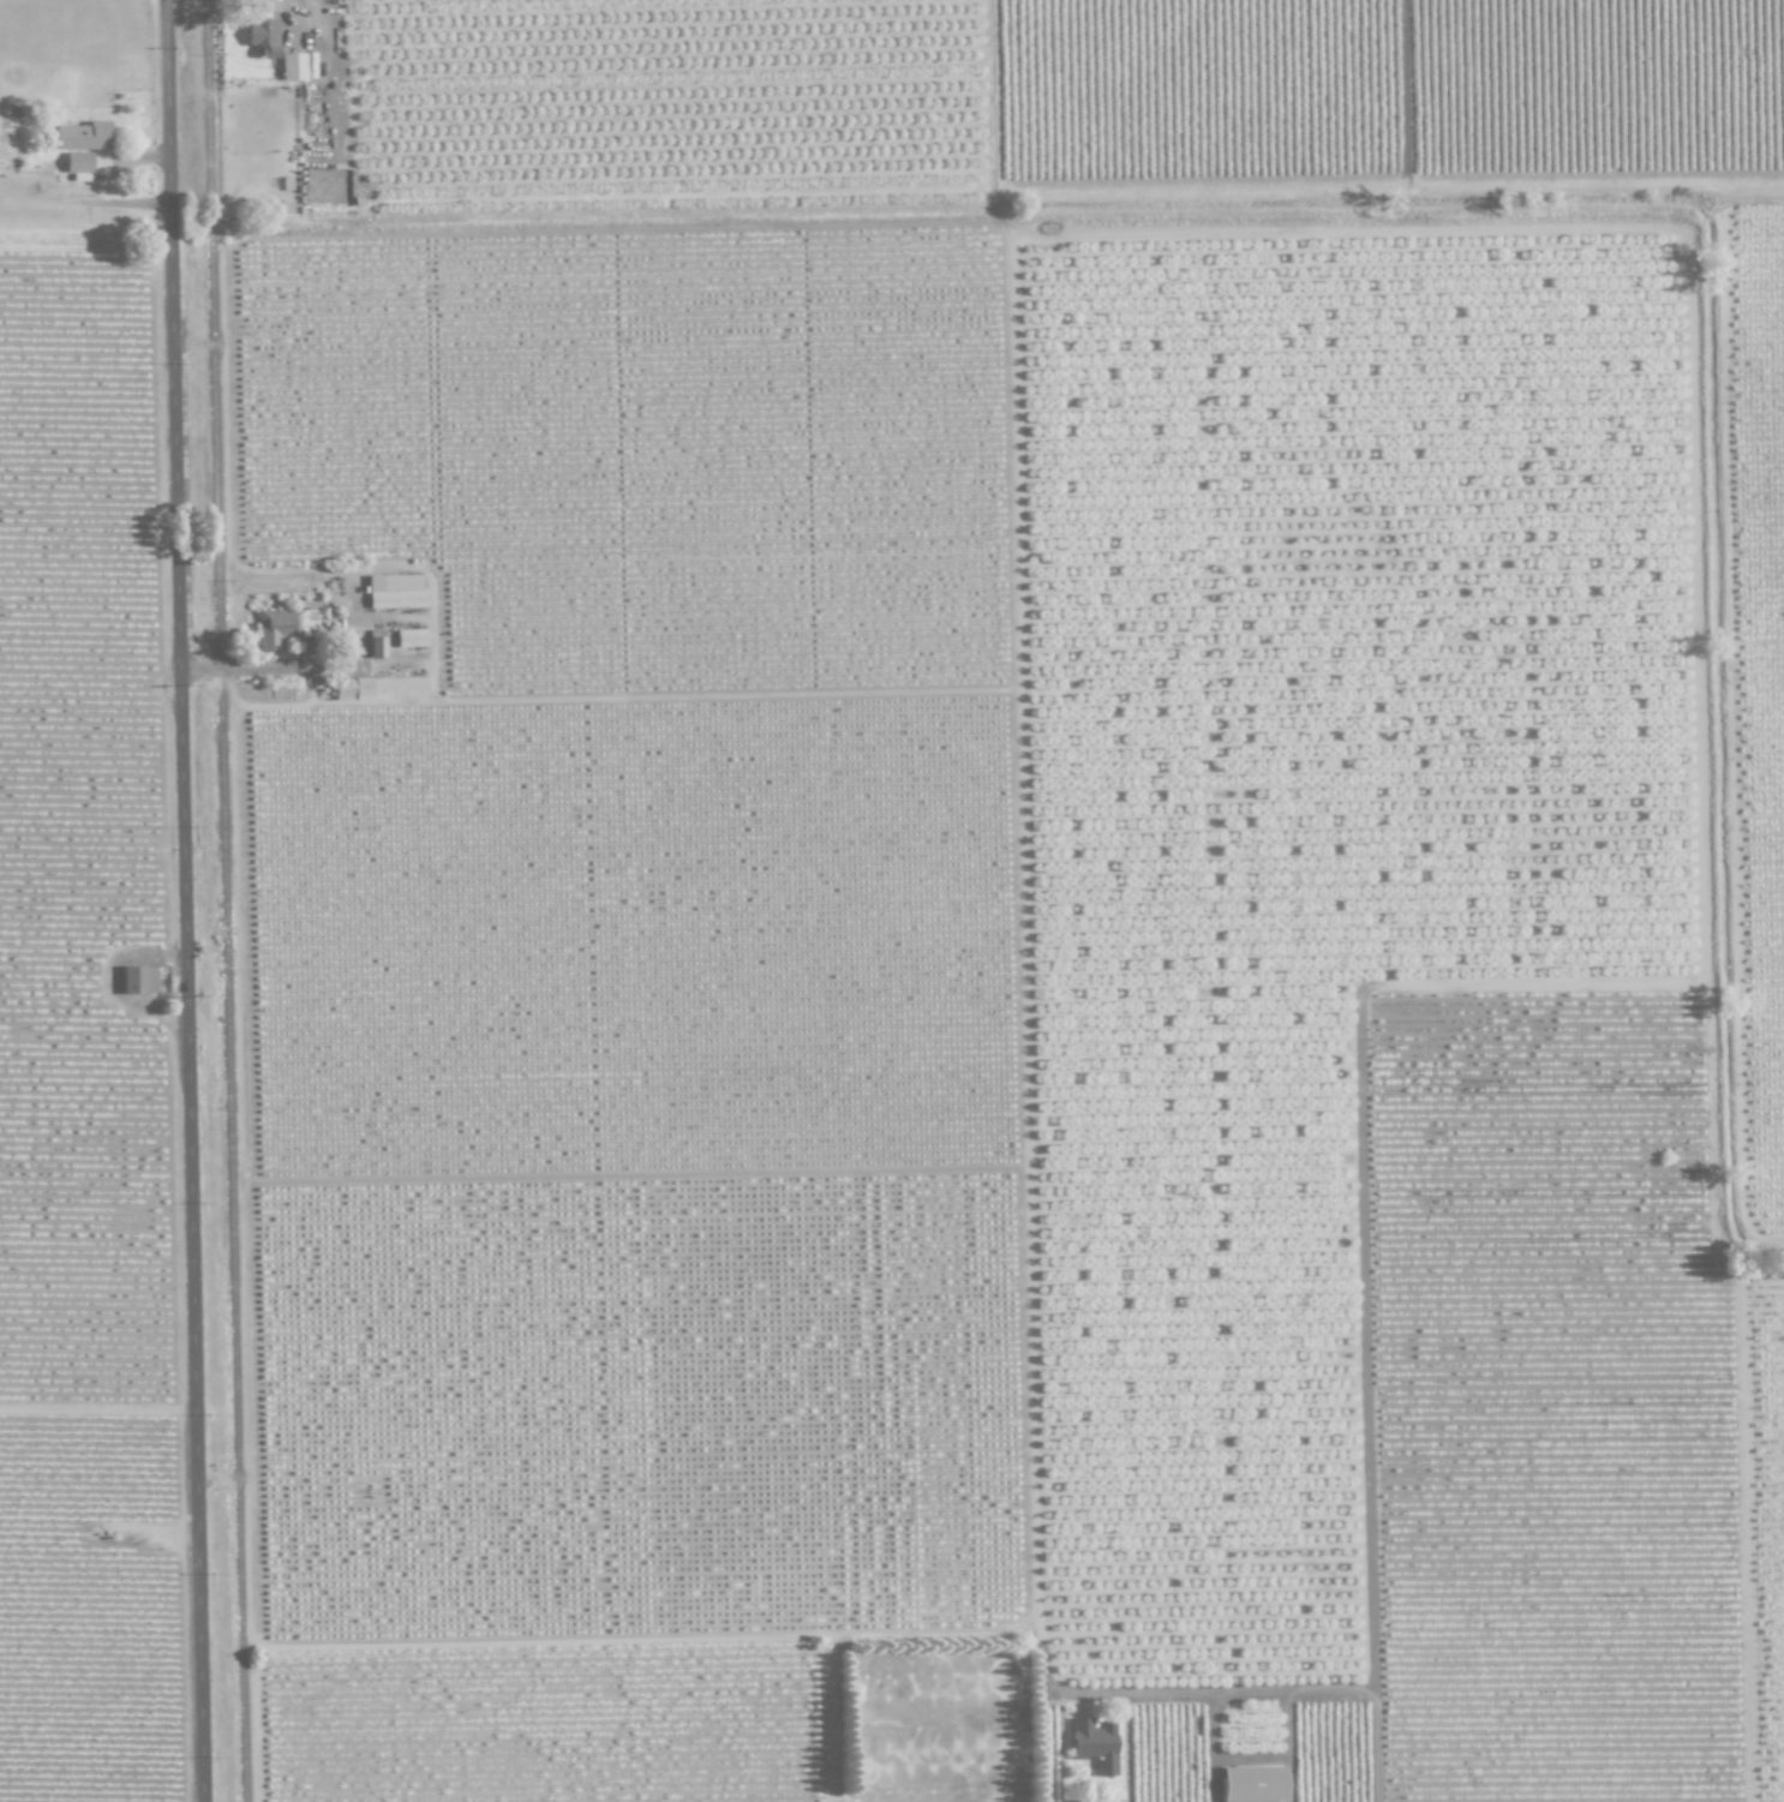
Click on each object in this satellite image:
building: (262, 36)
building: (292, 66)
road: (331, 82)
road: (1408, 96)
building: (82, 136)
road: (142, 158)
building: (77, 162)
building: (394, 591)
building: (282, 627)
building: (409, 637)
building: (375, 643)
road: (258, 665)
building: (397, 687)
building: (349, 689)
road: (182, 900)
building: (137, 980)
road: (1258, 1688)
building: (1094, 1744)
road: (1289, 1744)
road: (1378, 1744)
road: (1214, 1746)
building: (1251, 1784)

